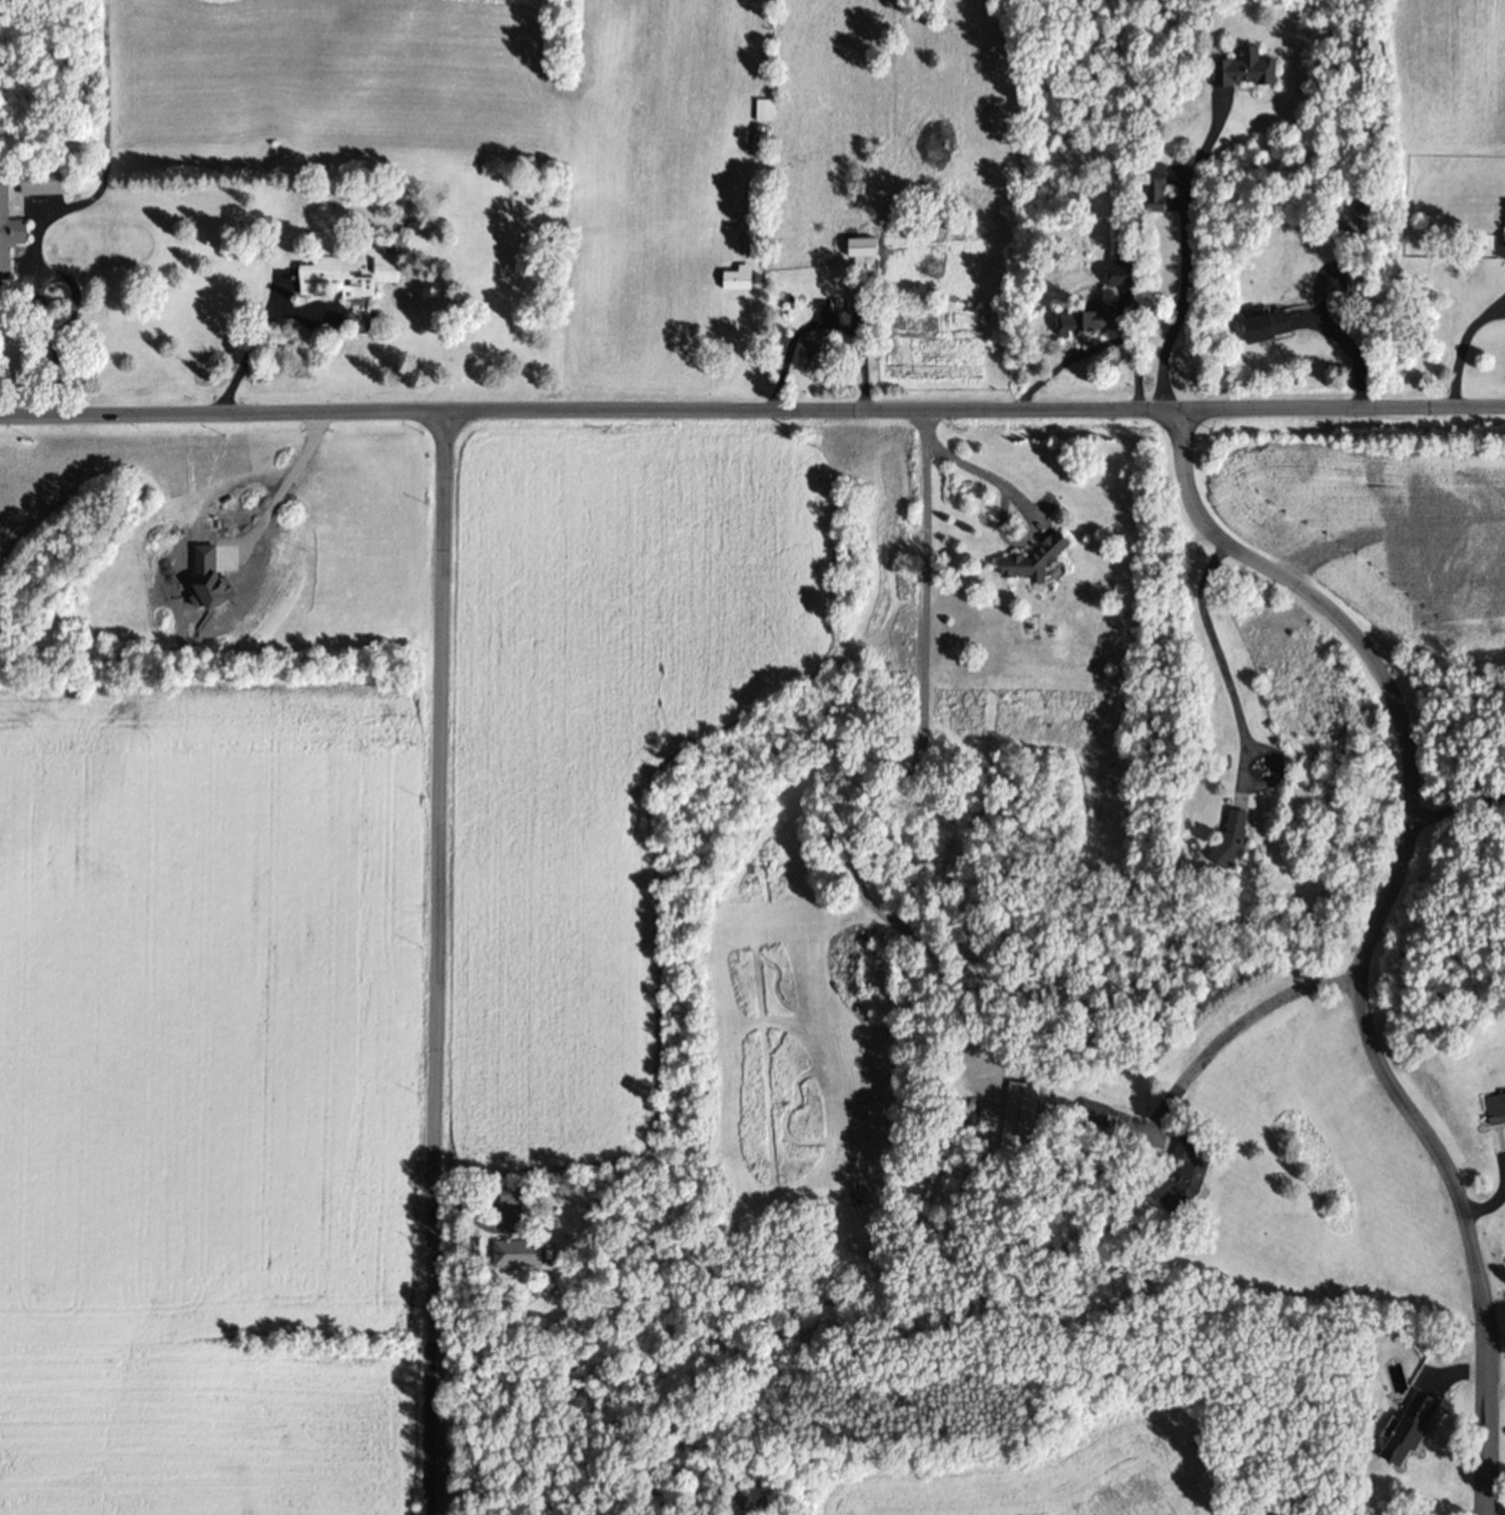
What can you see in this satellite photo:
building: (1251, 74)
building: (48, 188)
building: (1161, 193)
building: (11, 238)
building: (867, 260)
building: (1129, 275)
building: (358, 278)
building: (1358, 284)
road: (73, 303)
building: (863, 307)
building: (1095, 328)
building: (1269, 334)
road: (1459, 345)
road: (1099, 347)
road: (1346, 351)
building: (819, 358)
road: (752, 410)
road: (924, 471)
road: (284, 482)
road: (1021, 506)
building: (1041, 565)
road: (1215, 652)
road: (1460, 804)
building: (1243, 832)
road: (1372, 927)
road: (436, 962)
road: (1239, 1019)
building: (1497, 1113)
building: (1025, 1122)
building: (1193, 1182)
building: (522, 1200)
building: (527, 1257)
building: (1414, 1435)

